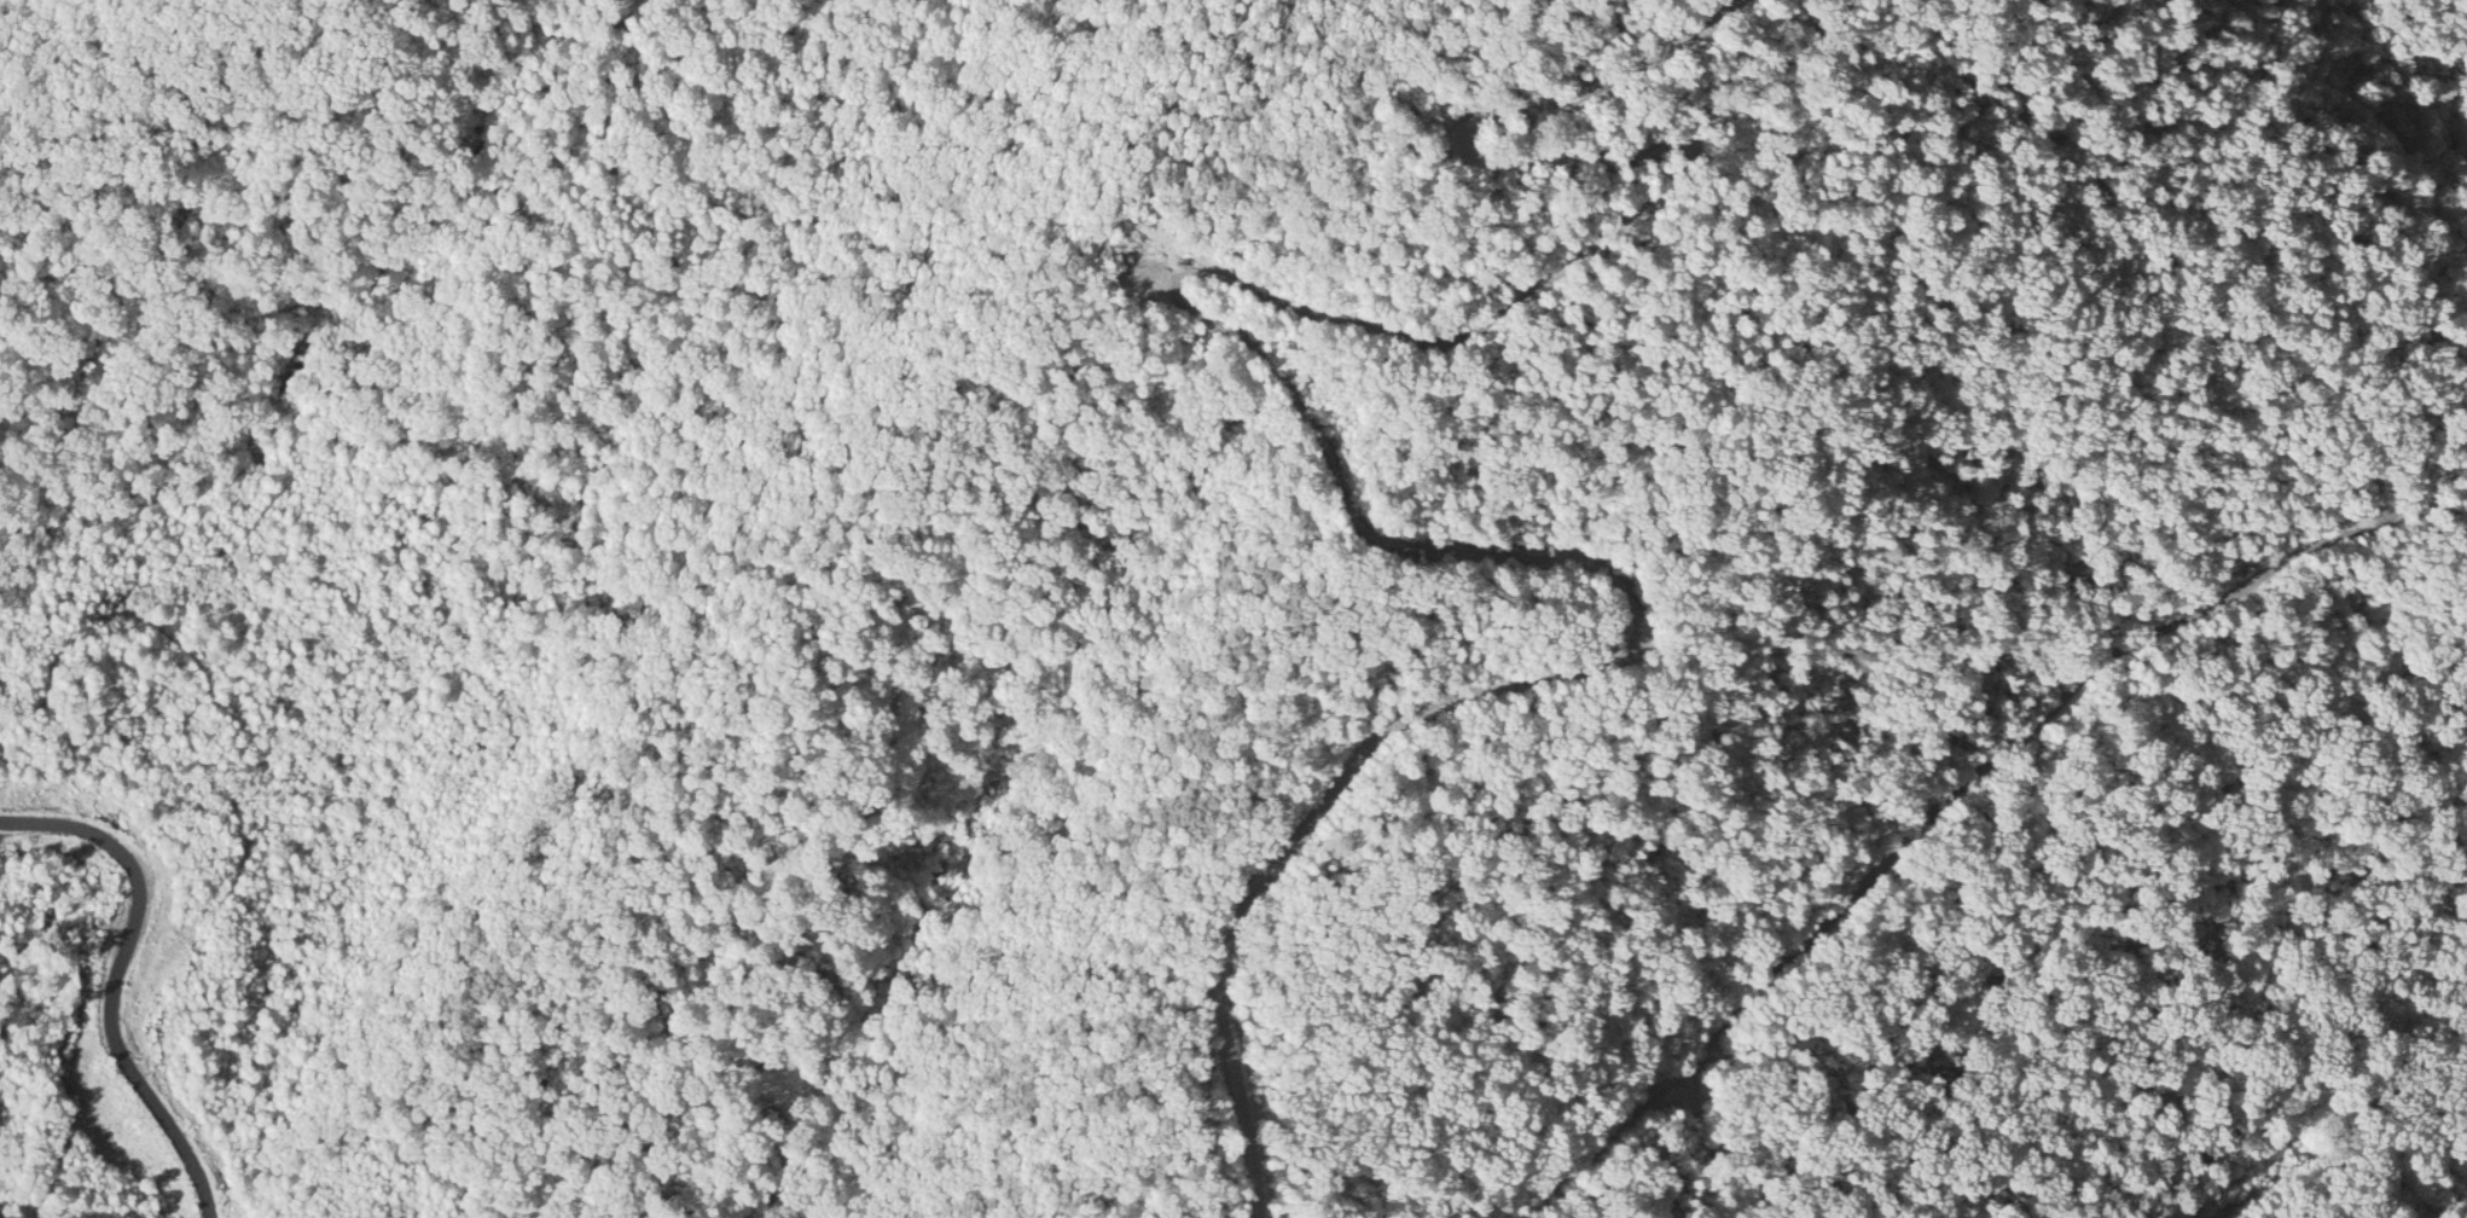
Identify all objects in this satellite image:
road: (1288, 394)
road: (1955, 790)
road: (108, 978)

